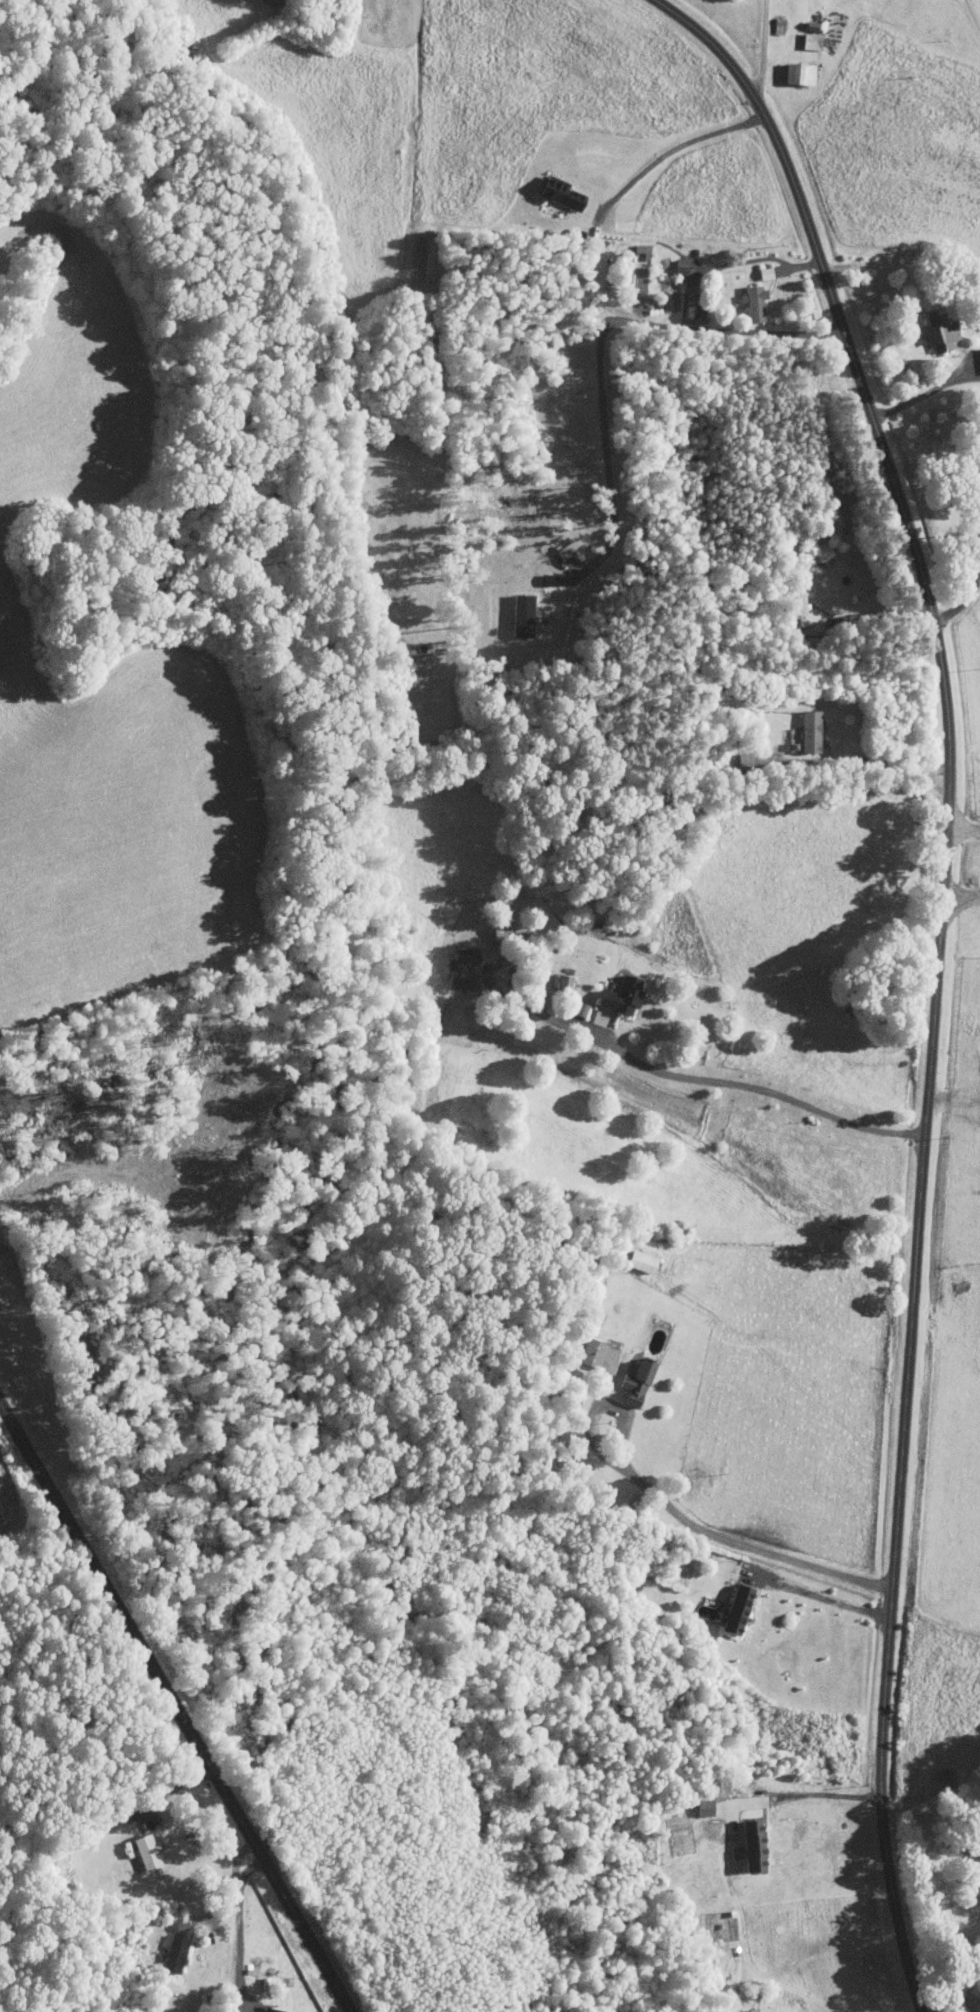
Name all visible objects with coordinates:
building: (809, 40)
road: (764, 47)
building: (795, 73)
road: (677, 145)
building: (557, 193)
road: (745, 259)
building: (678, 266)
building: (752, 303)
building: (935, 331)
road: (600, 341)
road: (928, 391)
road: (965, 600)
building: (799, 608)
building: (519, 614)
building: (807, 730)
road: (883, 761)
road: (962, 825)
road: (961, 898)
building: (499, 928)
building: (459, 969)
road: (936, 970)
building: (561, 981)
building: (617, 995)
road: (763, 1091)
road: (953, 1095)
building: (636, 1260)
building: (589, 1352)
building: (633, 1382)
road: (680, 1514)
road: (821, 1597)
building: (732, 1610)
road: (172, 1712)
building: (943, 1779)
road: (815, 1793)
building: (702, 1807)
building: (749, 1845)
building: (144, 1851)
road: (241, 1927)
building: (171, 1953)
building: (272, 2010)

